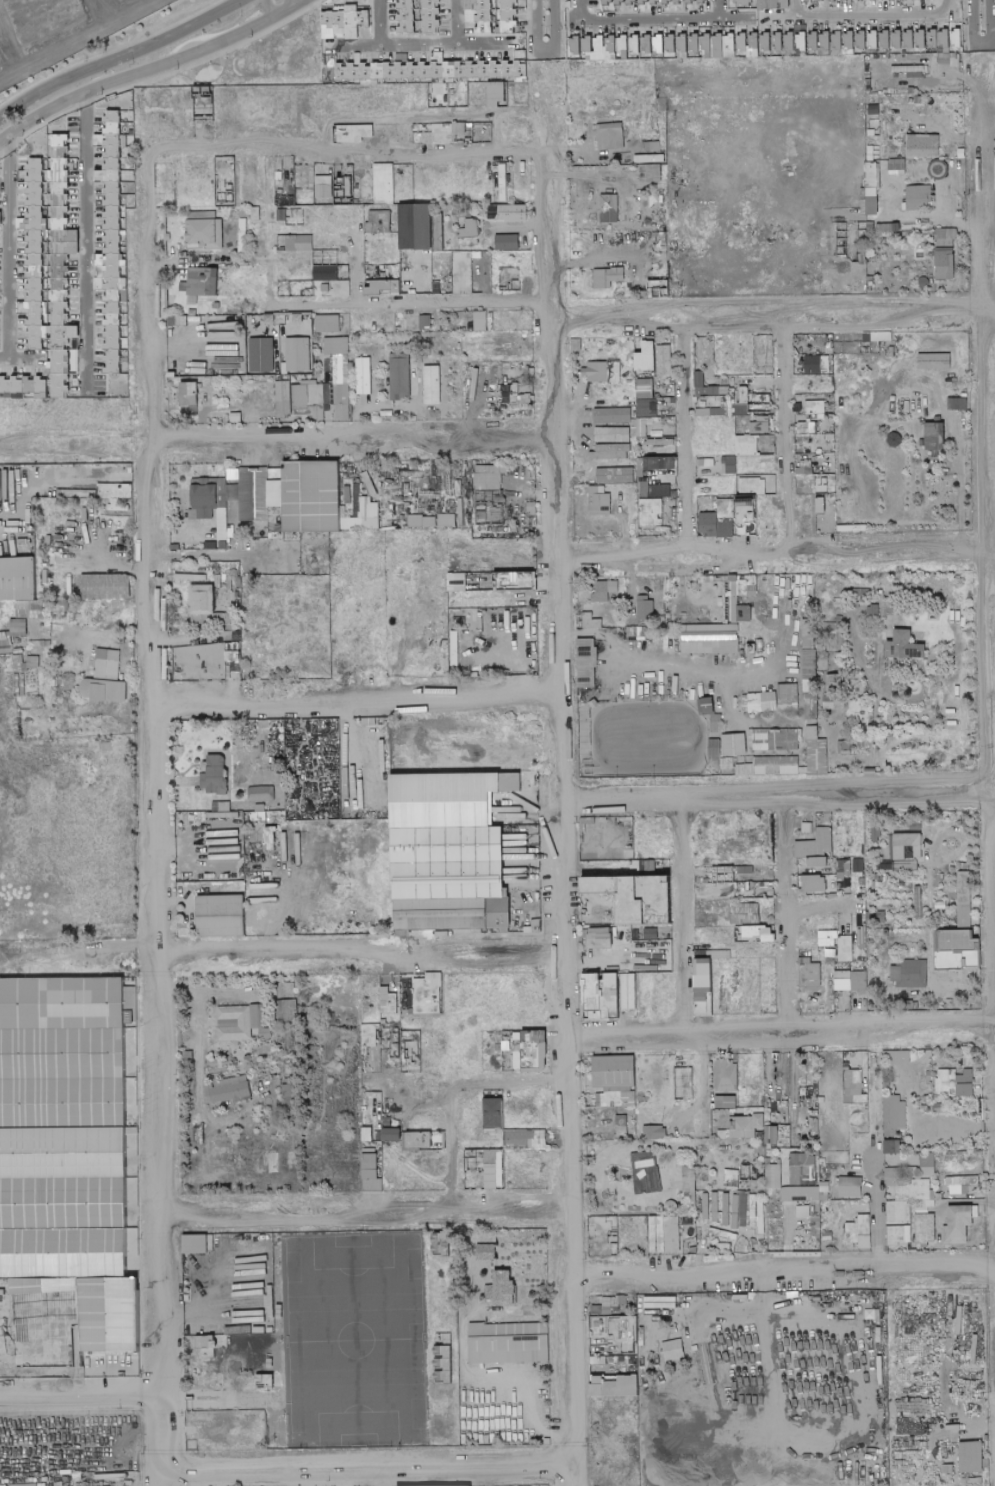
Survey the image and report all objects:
park: (352, 1340)

